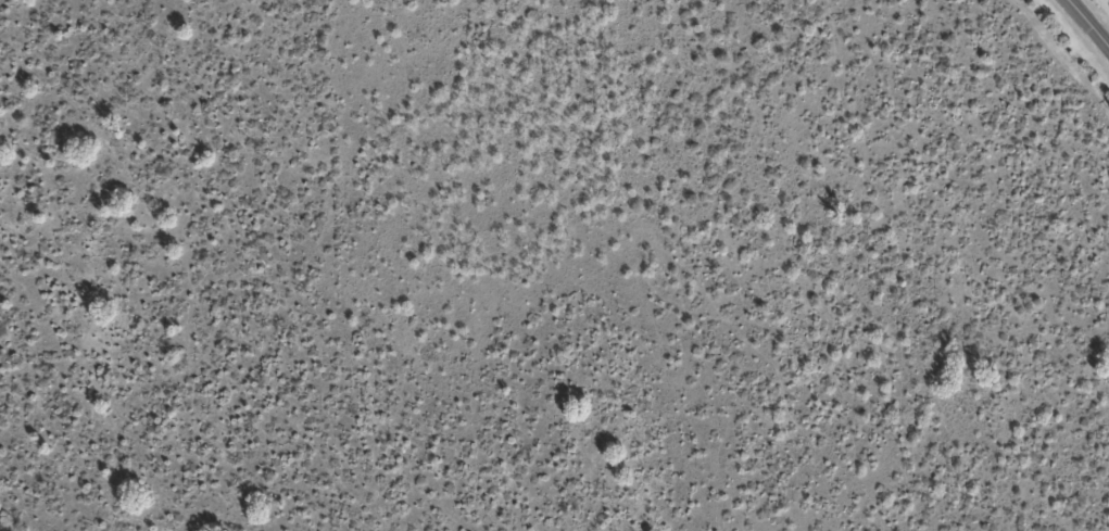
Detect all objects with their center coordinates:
road: (1085, 26)

